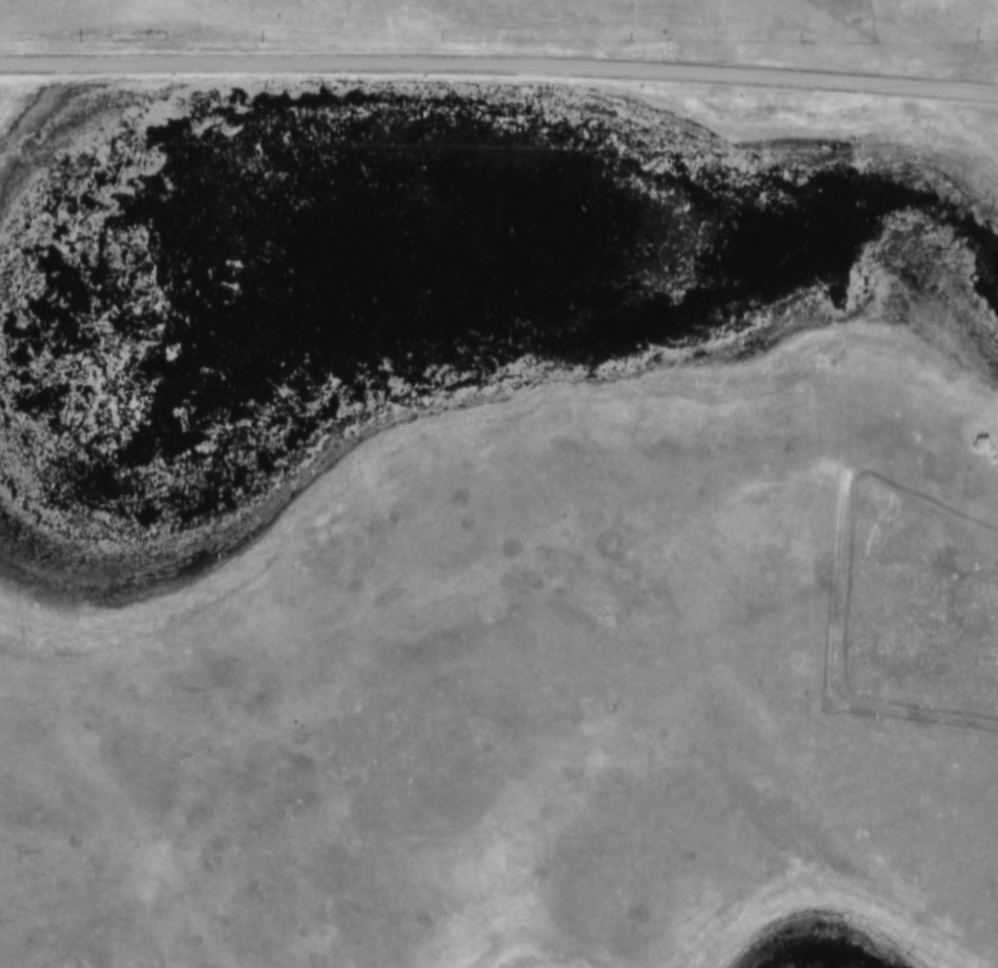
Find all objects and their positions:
road: (499, 67)

